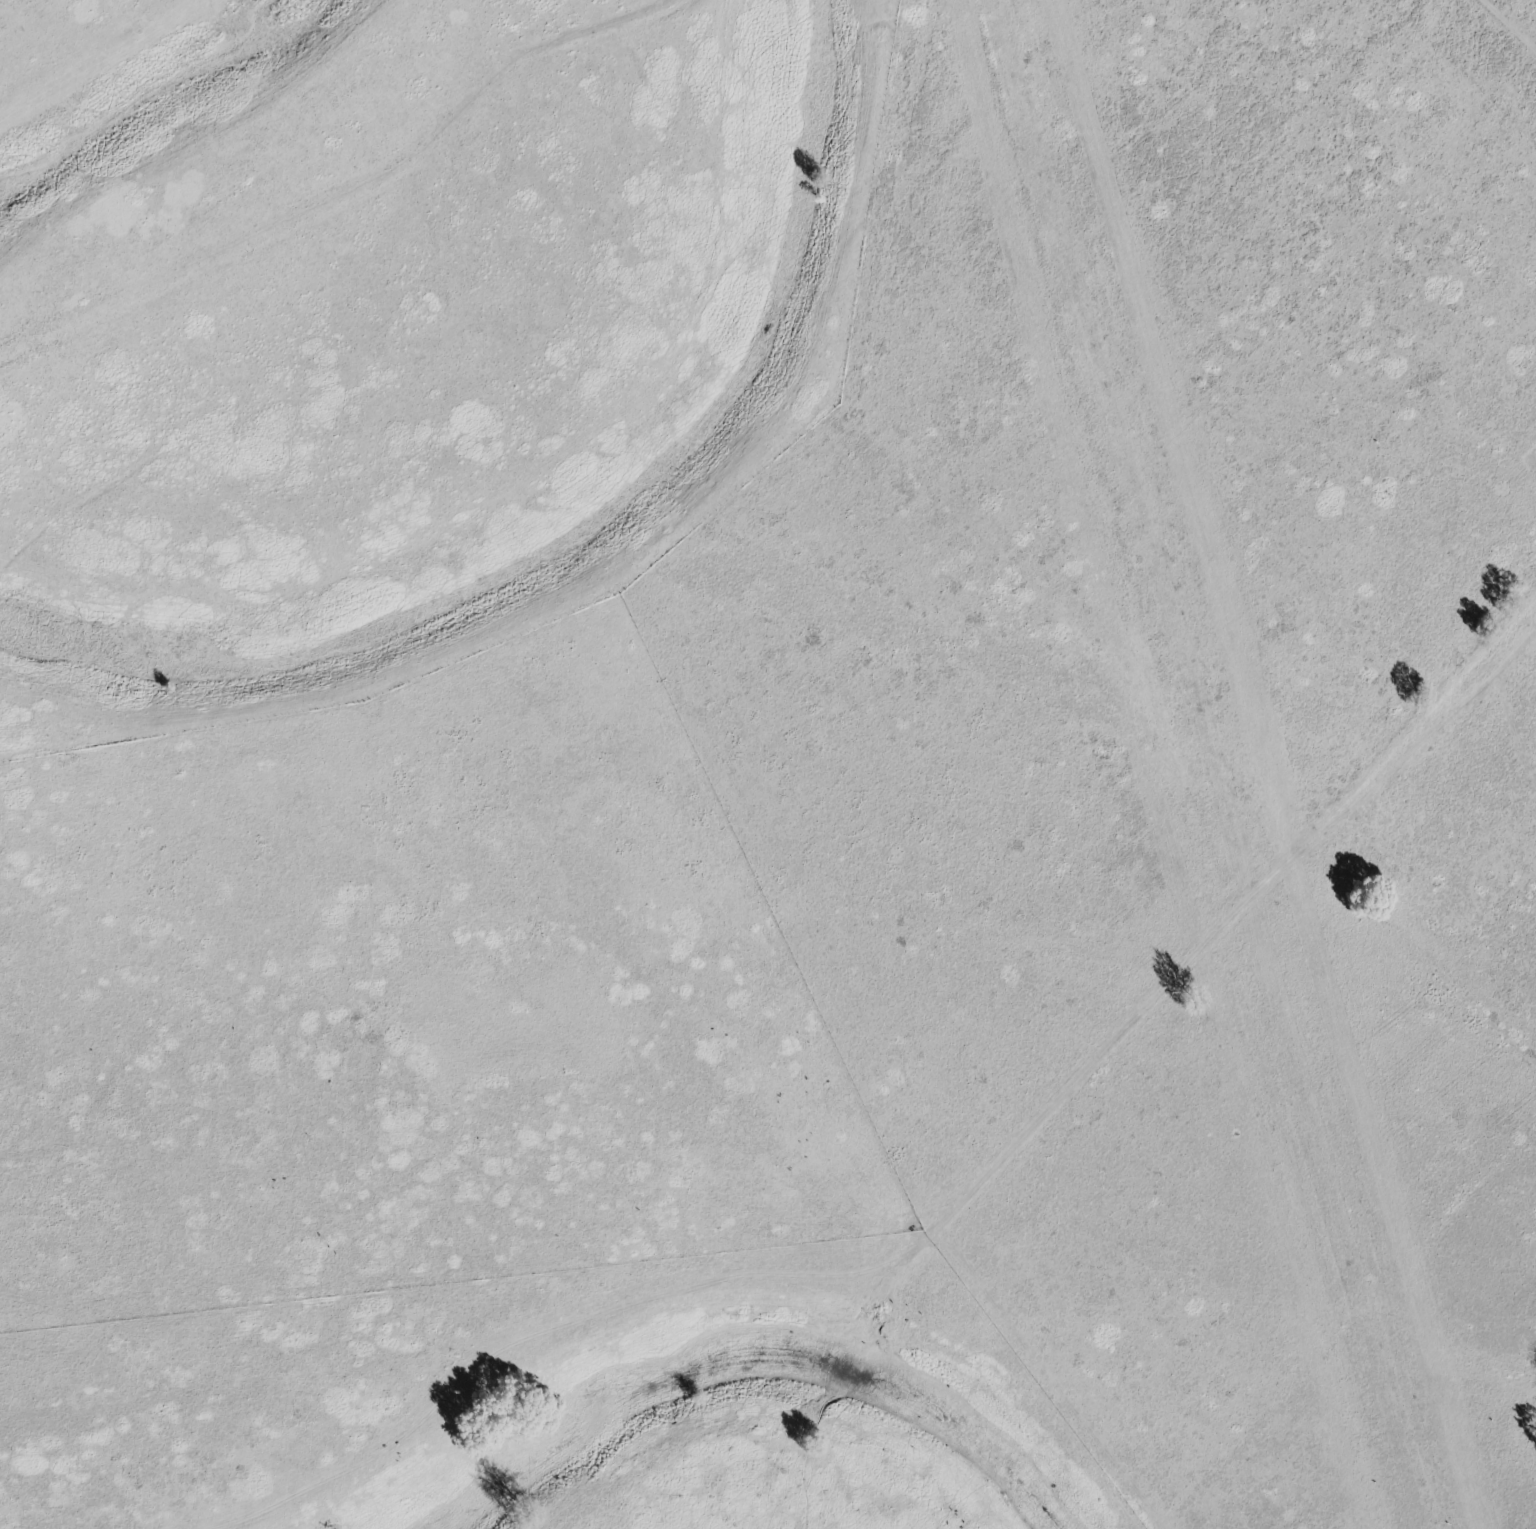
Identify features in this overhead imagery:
road: (956, 1201)

